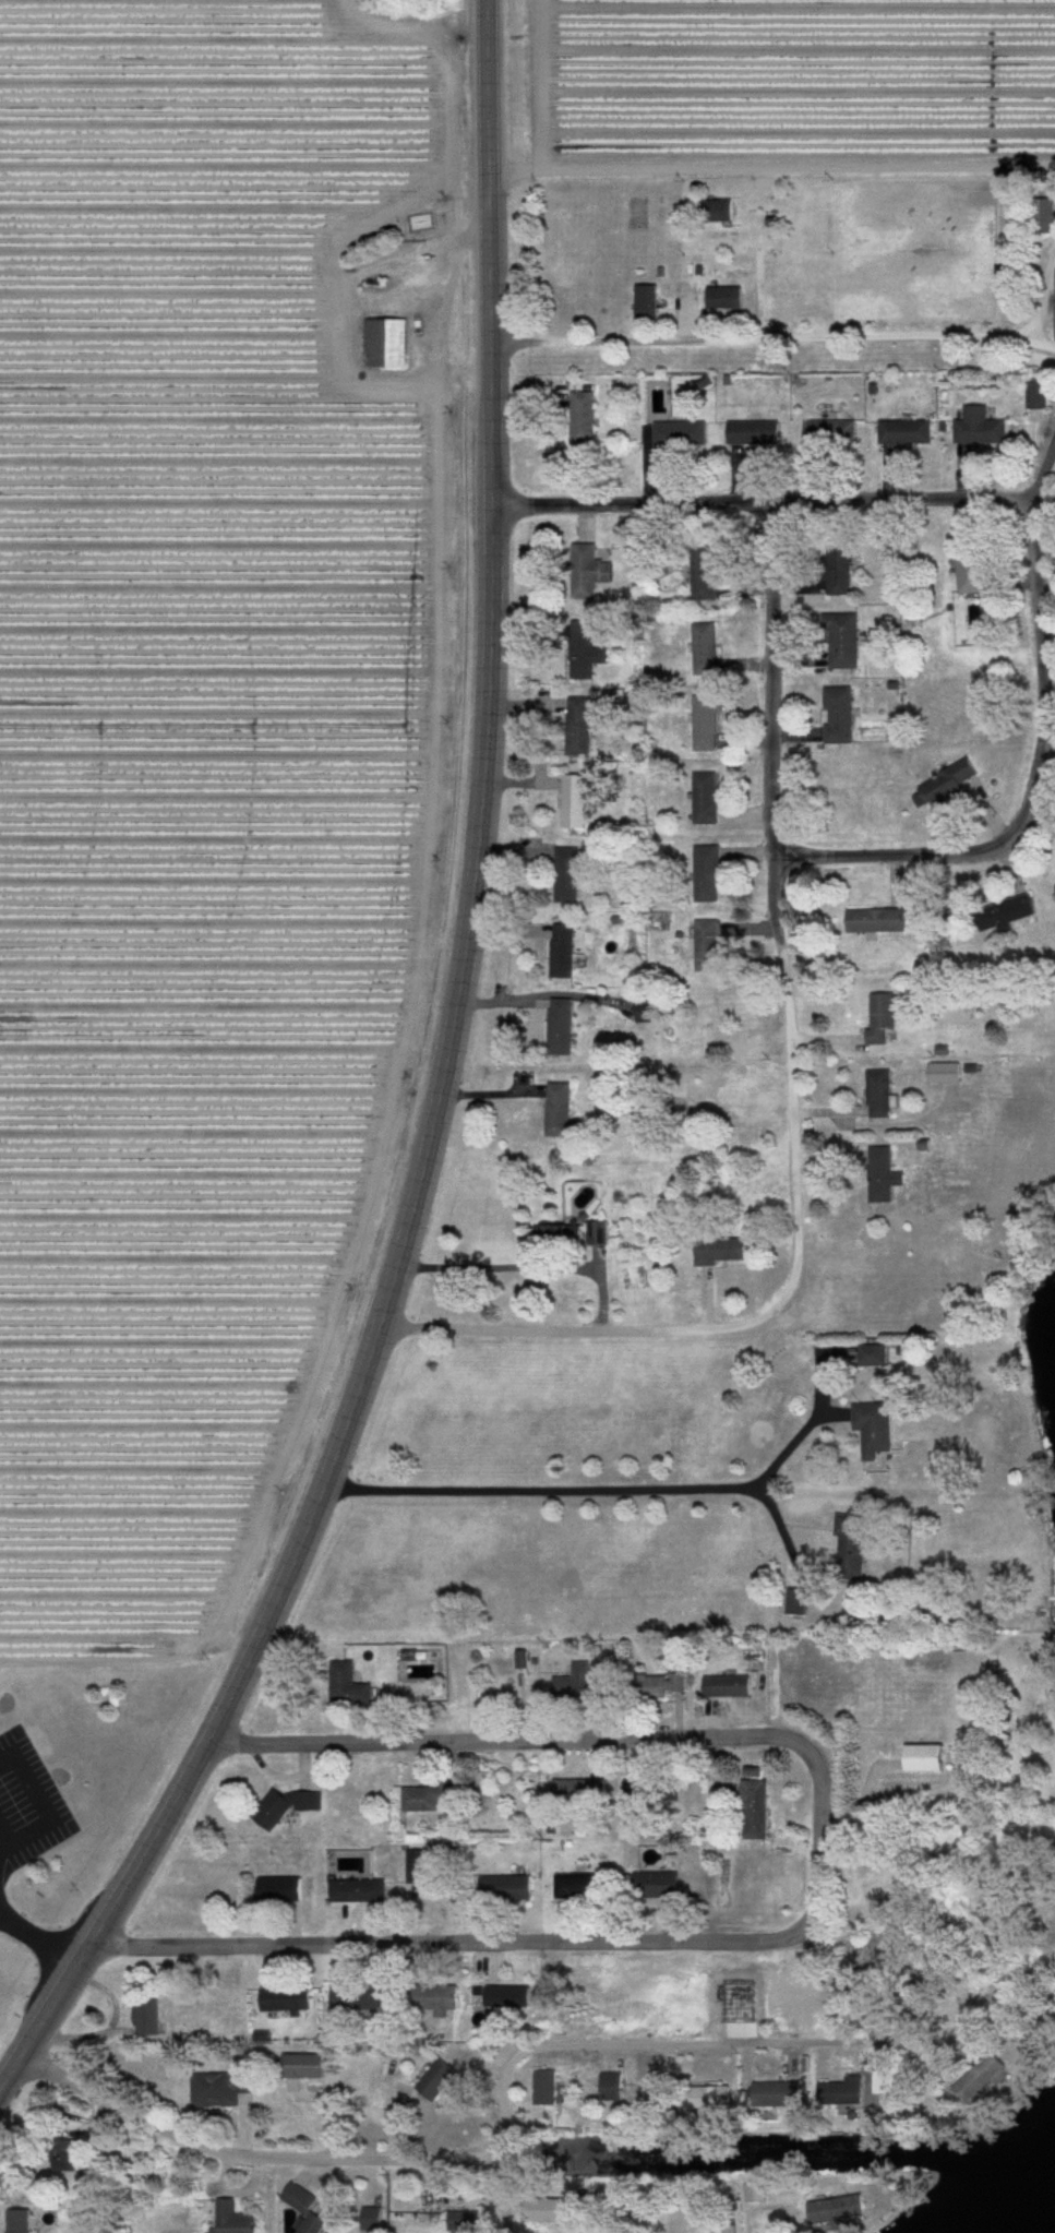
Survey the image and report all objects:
road: (770, 167)
building: (711, 211)
building: (1041, 216)
road: (757, 276)
building: (719, 298)
building: (648, 302)
road: (758, 339)
road: (1040, 339)
building: (385, 343)
building: (1031, 395)
building: (585, 418)
building: (971, 428)
building: (755, 433)
building: (825, 433)
building: (899, 433)
building: (682, 434)
road: (1039, 475)
road: (760, 506)
building: (831, 569)
building: (591, 572)
building: (706, 574)
building: (962, 577)
building: (836, 642)
building: (588, 645)
building: (705, 648)
road: (772, 682)
road: (1042, 684)
building: (842, 716)
building: (709, 724)
building: (583, 726)
building: (938, 785)
crop: (194, 796)
building: (708, 799)
building: (578, 802)
road: (890, 857)
building: (710, 874)
building: (571, 875)
building: (1054, 880)
building: (999, 915)
building: (875, 921)
building: (710, 947)
building: (566, 952)
building: (654, 1013)
building: (886, 1019)
building: (564, 1028)
building: (948, 1073)
road: (440, 1090)
building: (884, 1095)
building: (562, 1110)
building: (884, 1175)
building: (574, 1238)
building: (724, 1251)
road: (527, 1266)
road: (794, 1291)
building: (867, 1357)
building: (866, 1431)
road: (583, 1486)
road: (781, 1533)
building: (844, 1547)
building: (583, 1683)
building: (672, 1683)
building: (355, 1686)
building: (730, 1686)
road: (508, 1736)
building: (928, 1758)
building: (585, 1790)
building: (429, 1799)
building: (288, 1806)
building: (758, 1810)
road: (817, 1852)
building: (417, 1863)
building: (660, 1886)
building: (584, 1887)
building: (511, 1888)
building: (280, 1890)
building: (359, 1891)
road: (37, 1939)
road: (431, 1943)
building: (357, 1996)
building: (518, 1996)
building: (448, 1997)
building: (287, 1998)
building: (148, 2017)
road: (603, 2042)
building: (305, 2066)
building: (442, 2079)
building: (546, 2087)
building: (612, 2087)
building: (221, 2088)
building: (855, 2091)
building: (778, 2094)
building: (717, 2097)
building: (76, 2154)
road: (242, 2154)
building: (758, 2192)
building: (308, 2209)
building: (559, 2210)
building: (843, 2211)
building: (235, 2219)
building: (466, 2222)
building: (21, 2229)
building: (729, 2230)

